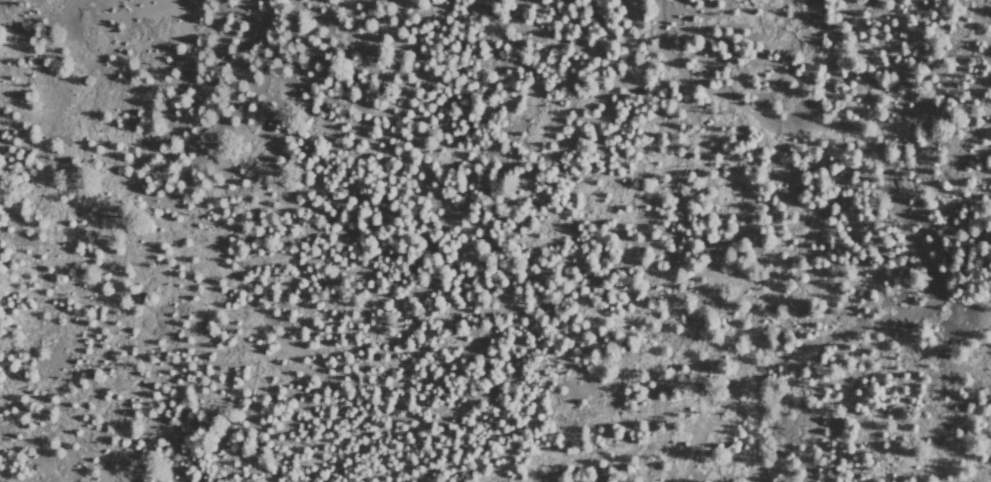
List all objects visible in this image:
road: (874, 198)

